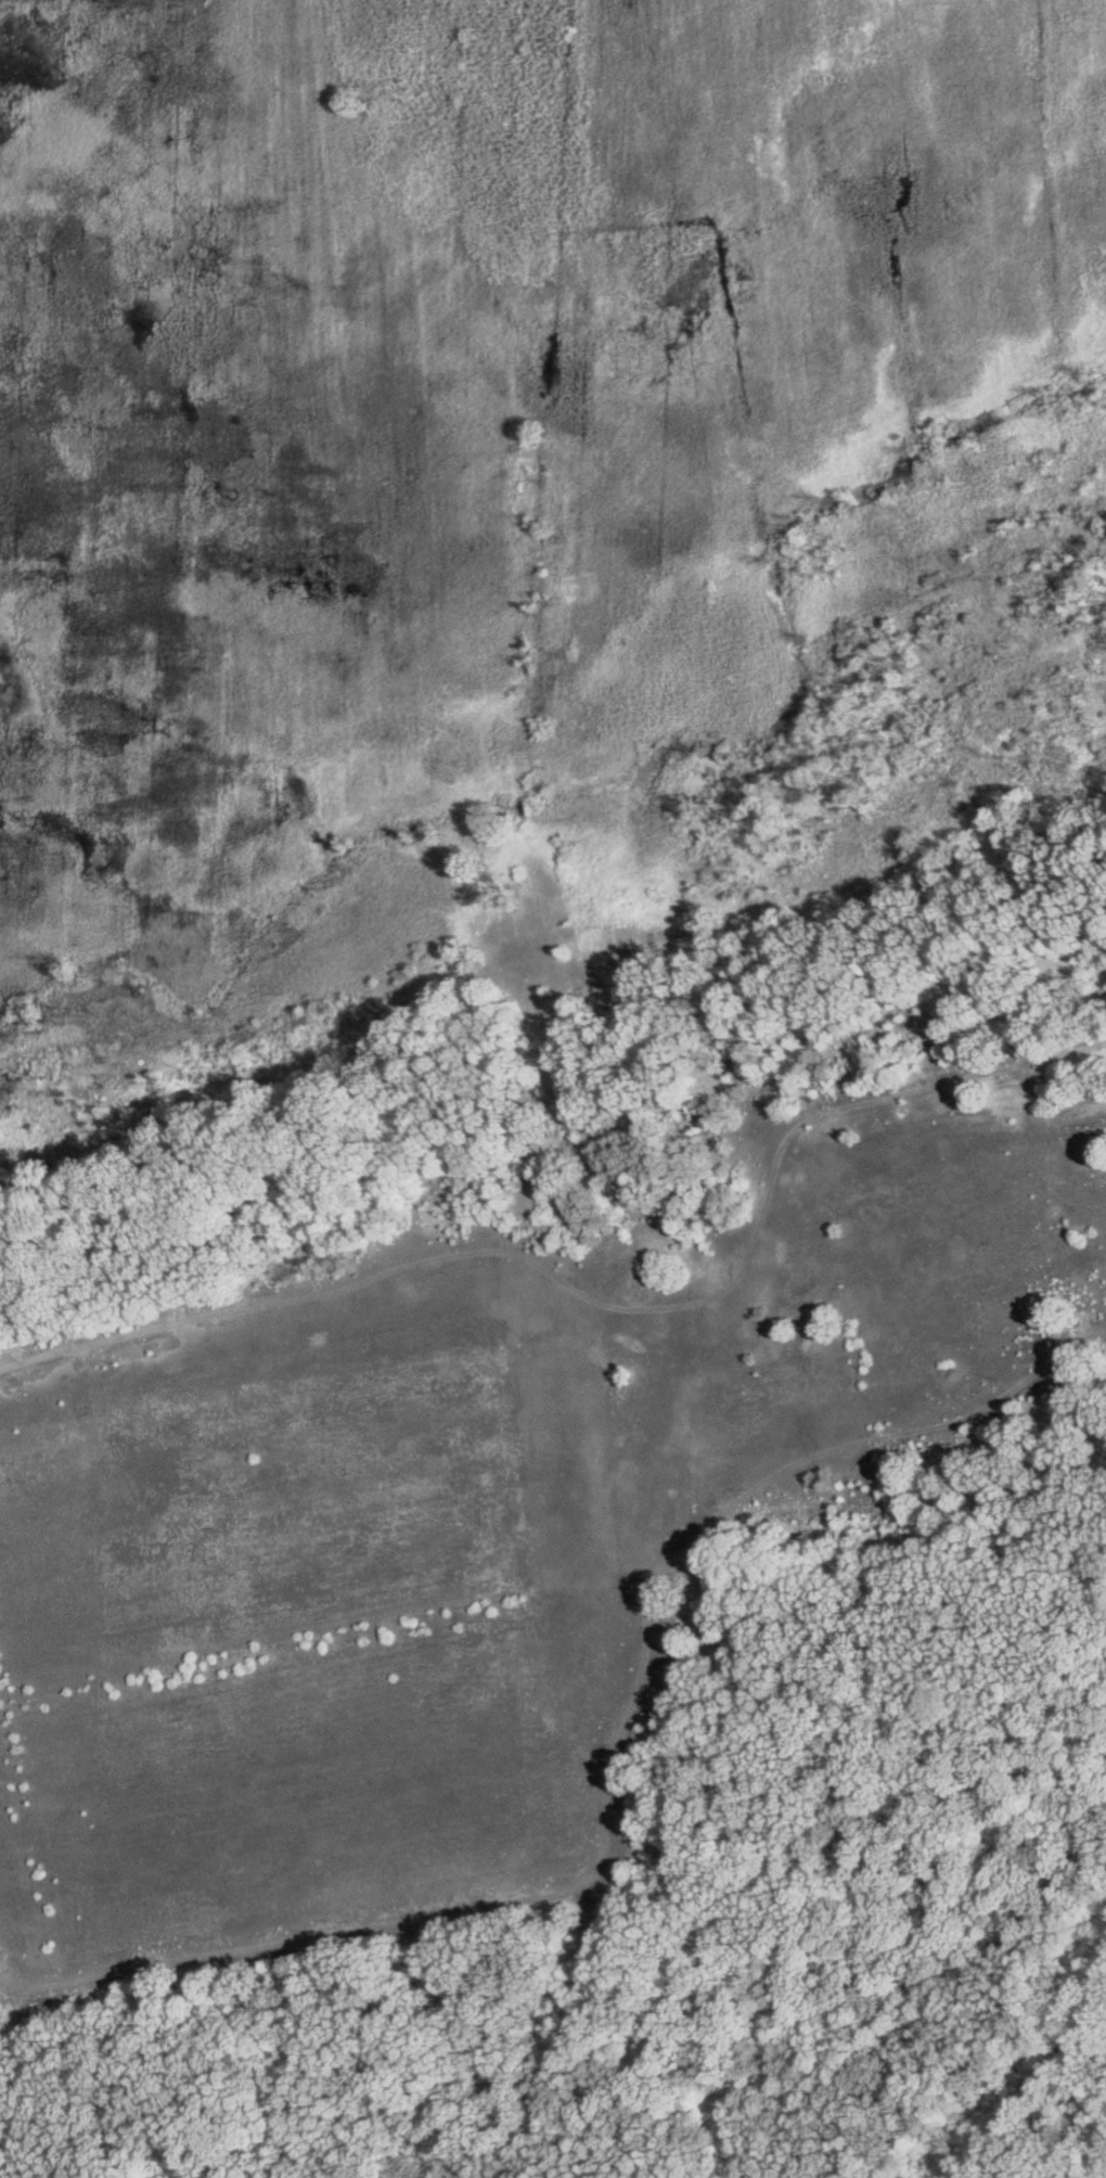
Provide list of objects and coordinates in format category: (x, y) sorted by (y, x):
road: (933, 1995)

